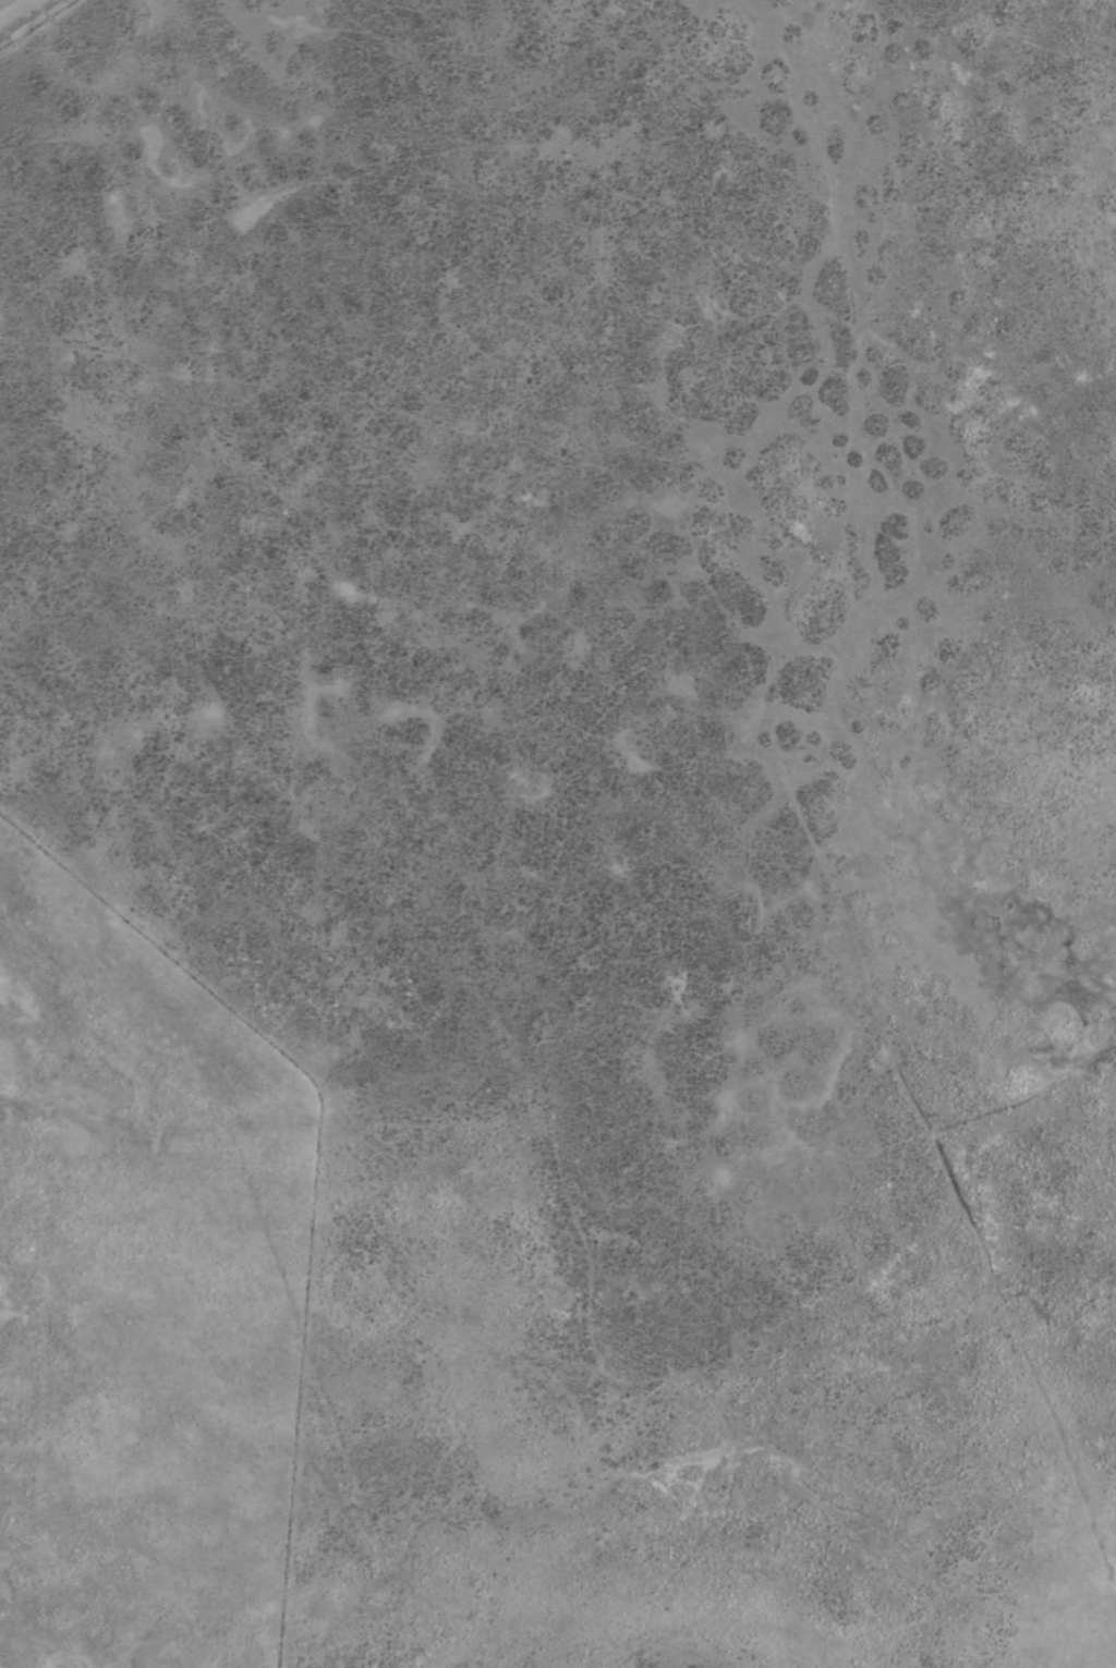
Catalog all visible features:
crop: (558, 833)

